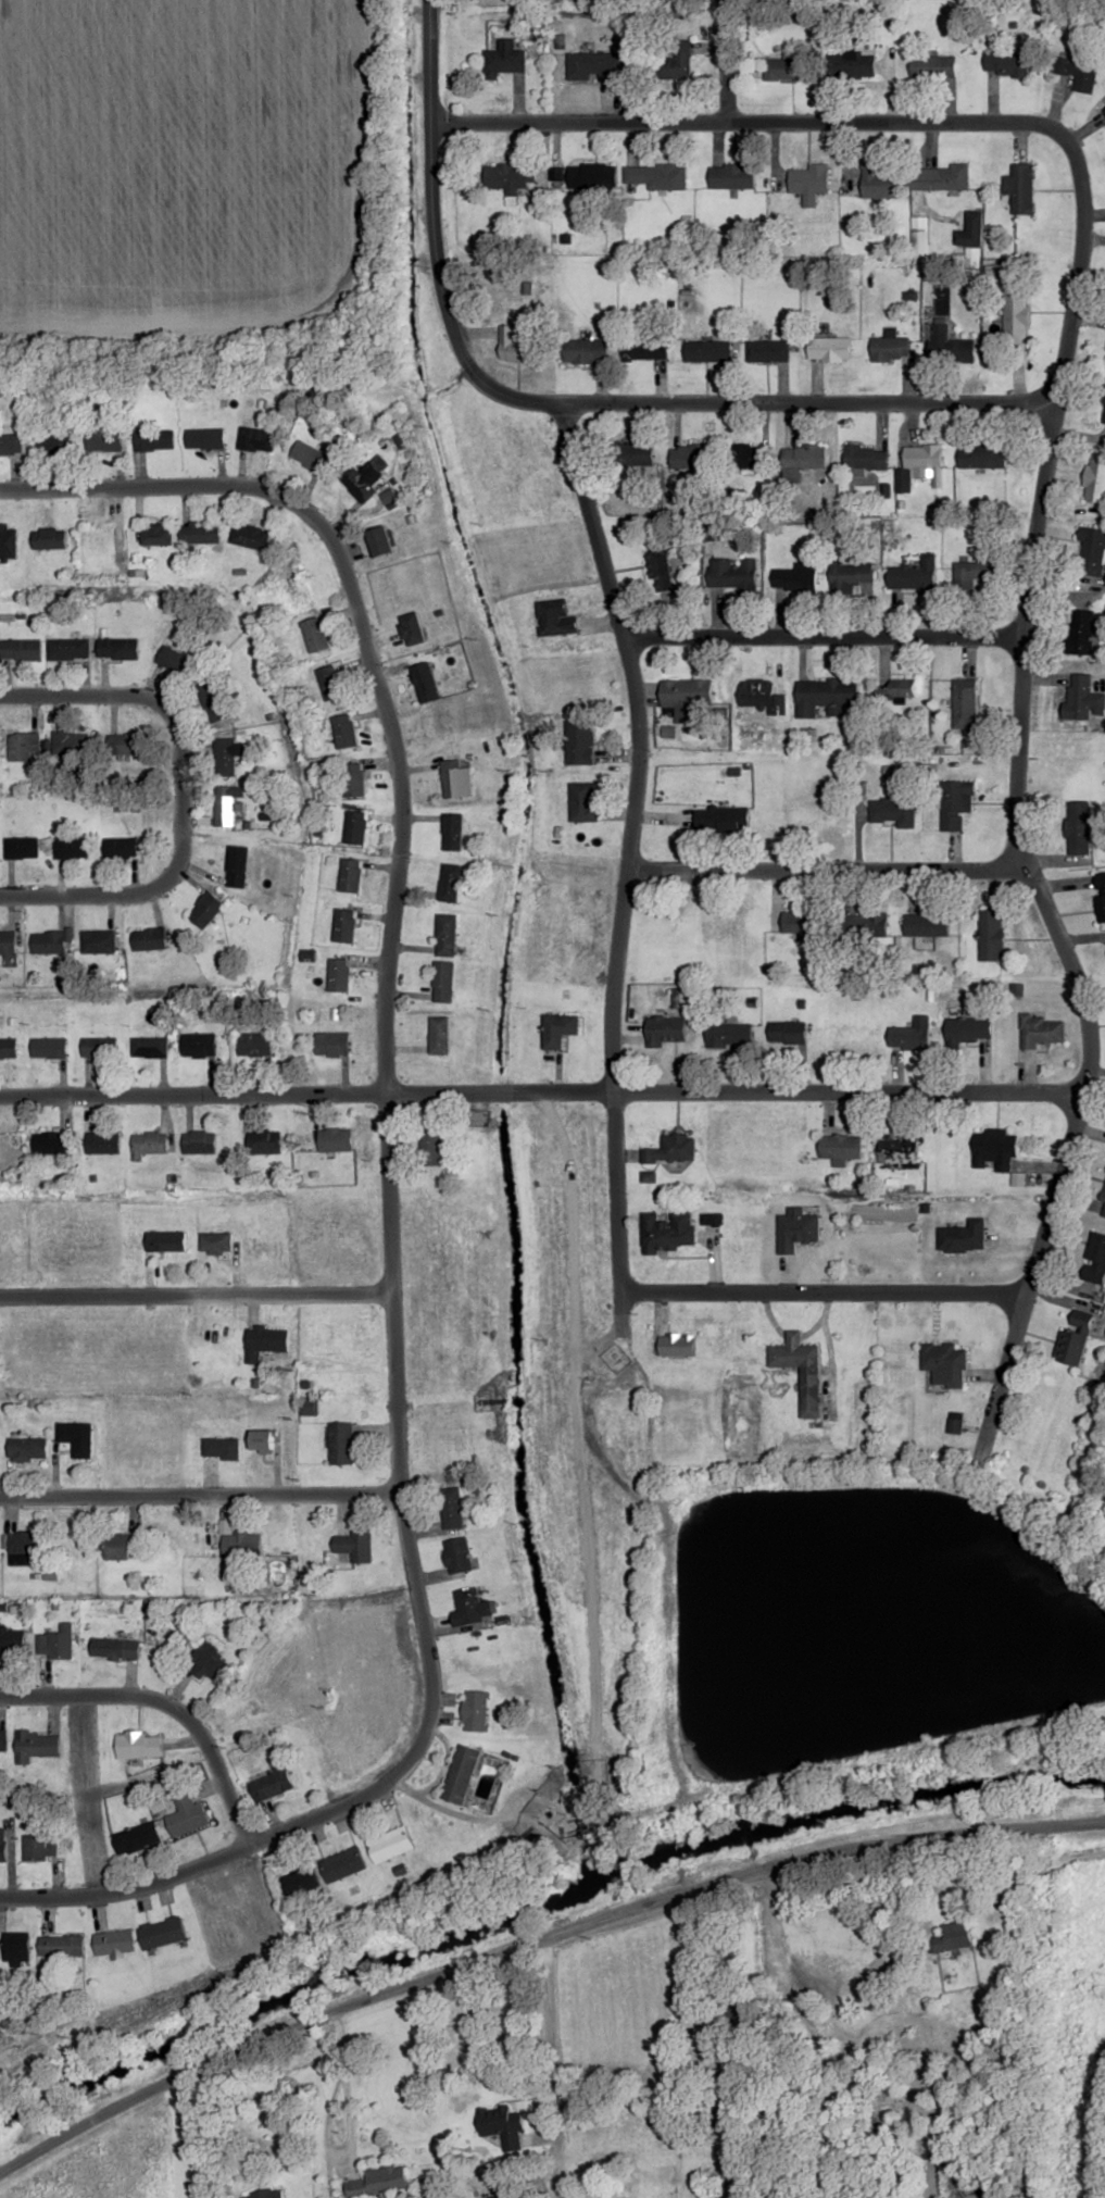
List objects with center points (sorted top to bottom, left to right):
building: (504, 58)
road: (719, 61)
building: (674, 62)
building: (852, 63)
building: (1008, 64)
building: (591, 65)
building: (934, 66)
building: (789, 67)
building: (1079, 73)
building: (1103, 114)
building: (589, 175)
building: (515, 176)
building: (657, 176)
building: (733, 176)
building: (947, 177)
building: (811, 182)
building: (879, 184)
building: (1021, 188)
road: (1080, 190)
building: (970, 230)
road: (429, 241)
building: (1017, 314)
building: (517, 345)
building: (952, 347)
building: (645, 348)
building: (830, 349)
building: (891, 349)
building: (708, 350)
building: (769, 350)
building: (587, 351)
road: (1063, 434)
building: (205, 438)
building: (155, 439)
building: (258, 439)
building: (105, 440)
building: (12, 444)
building: (51, 444)
building: (635, 453)
building: (311, 455)
building: (689, 455)
building: (751, 455)
building: (982, 455)
building: (867, 458)
building: (803, 460)
building: (920, 465)
building: (365, 477)
building: (1096, 477)
building: (201, 533)
building: (158, 534)
building: (250, 536)
building: (101, 537)
building: (50, 538)
building: (381, 540)
building: (1092, 552)
building: (661, 570)
building: (733, 573)
building: (851, 575)
building: (975, 575)
building: (793, 577)
building: (913, 578)
building: (556, 617)
building: (412, 628)
building: (1082, 630)
building: (316, 634)
road: (824, 637)
road: (364, 644)
building: (70, 648)
building: (118, 648)
building: (22, 649)
building: (176, 661)
building: (331, 682)
building: (426, 682)
building: (828, 696)
building: (687, 697)
building: (902, 697)
building: (1082, 697)
building: (213, 700)
building: (966, 703)
building: (346, 730)
building: (71, 742)
building: (581, 742)
road: (631, 744)
building: (126, 745)
building: (22, 747)
building: (224, 757)
building: (354, 779)
building: (456, 779)
road: (180, 796)
building: (585, 801)
building: (957, 803)
building: (226, 804)
building: (893, 812)
building: (723, 817)
building: (356, 826)
building: (1080, 827)
building: (453, 831)
building: (22, 847)
building: (72, 847)
building: (123, 848)
building: (238, 866)
road: (825, 867)
building: (351, 875)
building: (451, 883)
building: (1101, 894)
building: (206, 910)
building: (809, 921)
building: (929, 924)
building: (344, 925)
road: (1055, 932)
building: (992, 934)
building: (448, 935)
building: (149, 939)
building: (48, 941)
building: (98, 941)
building: (8, 942)
building: (339, 975)
building: (444, 982)
building: (560, 1029)
building: (665, 1029)
building: (969, 1029)
building: (1041, 1031)
building: (789, 1033)
building: (440, 1035)
building: (730, 1035)
building: (913, 1035)
building: (332, 1044)
building: (199, 1045)
building: (255, 1045)
building: (49, 1047)
building: (99, 1047)
building: (149, 1047)
building: (9, 1048)
road: (846, 1090)
road: (304, 1096)
building: (336, 1139)
building: (264, 1141)
building: (50, 1142)
building: (102, 1142)
building: (199, 1142)
building: (149, 1144)
building: (842, 1146)
building: (431, 1149)
building: (673, 1149)
building: (900, 1149)
building: (995, 1149)
road: (612, 1194)
building: (1103, 1197)
building: (1104, 1215)
building: (669, 1231)
building: (964, 1237)
building: (167, 1241)
building: (216, 1244)
building: (1095, 1259)
road: (821, 1294)
road: (299, 1296)
road: (574, 1310)
road: (610, 1338)
building: (1073, 1340)
building: (265, 1341)
building: (678, 1345)
building: (946, 1364)
building: (802, 1370)
building: (954, 1428)
building: (77, 1437)
building: (263, 1441)
building: (341, 1443)
building: (28, 1448)
building: (222, 1448)
road: (198, 1497)
building: (452, 1508)
road: (400, 1526)
building: (27, 1543)
building: (239, 1544)
building: (355, 1546)
building: (117, 1552)
building: (457, 1556)
building: (473, 1607)
road: (664, 1615)
road: (635, 1640)
building: (12, 1641)
building: (56, 1644)
building: (116, 1648)
building: (212, 1663)
road: (166, 1704)
building: (476, 1710)
building: (3, 1740)
building: (37, 1745)
building: (139, 1745)
building: (461, 1773)
building: (274, 1781)
building: (187, 1813)
building: (136, 1837)
building: (3, 1844)
building: (391, 1844)
building: (40, 1846)
building: (343, 1863)
building: (303, 1881)
road: (127, 1894)
road: (899, 1895)
building: (163, 1932)
road: (533, 1934)
building: (953, 1936)
building: (115, 1941)
building: (61, 1945)
building: (15, 1946)
road: (681, 1947)
building: (687, 2019)
road: (545, 2038)
road: (340, 2086)
building: (716, 2107)
building: (502, 2124)
road: (212, 2128)
building: (380, 2181)
building: (266, 2194)
building: (499, 2197)

